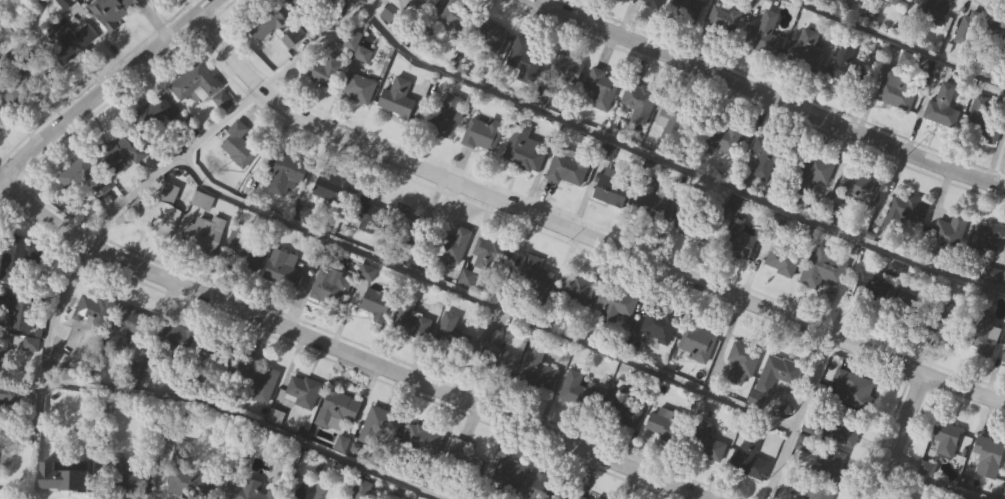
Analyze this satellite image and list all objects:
building: (850, 0)
building: (896, 1)
building: (430, 2)
building: (652, 2)
building: (300, 3)
building: (402, 4)
building: (686, 8)
building: (112, 9)
building: (933, 10)
building: (459, 18)
building: (723, 18)
building: (264, 22)
building: (976, 25)
building: (765, 33)
building: (492, 38)
road: (897, 43)
building: (805, 49)
building: (1003, 53)
building: (523, 59)
road: (156, 63)
building: (325, 68)
building: (565, 71)
building: (200, 85)
building: (859, 86)
building: (358, 87)
building: (600, 88)
road: (98, 89)
building: (897, 89)
road: (771, 97)
building: (397, 98)
building: (637, 100)
building: (943, 105)
road: (751, 106)
building: (153, 113)
building: (2, 116)
building: (449, 116)
building: (677, 118)
building: (985, 118)
building: (482, 133)
building: (726, 137)
building: (236, 144)
building: (521, 145)
building: (114, 150)
building: (766, 156)
building: (569, 166)
road: (674, 166)
building: (286, 168)
building: (809, 172)
building: (83, 178)
road: (149, 180)
building: (860, 186)
building: (610, 188)
building: (329, 189)
building: (202, 199)
building: (650, 202)
building: (367, 205)
building: (163, 210)
building: (902, 216)
building: (692, 223)
building: (404, 227)
building: (949, 231)
road: (581, 233)
building: (203, 234)
building: (986, 235)
building: (737, 241)
building: (454, 245)
building: (242, 252)
building: (491, 253)
building: (15, 259)
building: (780, 259)
building: (823, 267)
building: (282, 269)
building: (534, 277)
building: (331, 288)
building: (575, 288)
building: (873, 290)
road: (479, 302)
building: (615, 304)
building: (374, 305)
building: (93, 311)
building: (909, 312)
building: (19, 313)
building: (413, 323)
building: (658, 323)
building: (947, 323)
building: (132, 325)
building: (455, 329)
building: (980, 335)
building: (182, 341)
building: (697, 341)
building: (495, 348)
road: (349, 351)
building: (214, 352)
building: (6, 356)
building: (1003, 358)
building: (742, 362)
building: (535, 368)
building: (777, 375)
building: (263, 384)
building: (851, 389)
building: (301, 391)
building: (9, 395)
building: (595, 399)
building: (340, 406)
road: (922, 408)
road: (797, 416)
road: (244, 420)
building: (666, 423)
building: (380, 428)
building: (843, 428)
road: (898, 435)
building: (943, 439)
building: (422, 441)
building: (703, 442)
building: (749, 457)
building: (988, 457)
building: (461, 459)
building: (830, 463)
building: (926, 468)
building: (508, 476)
building: (62, 479)
road: (931, 483)
building: (547, 489)
building: (811, 489)
building: (247, 491)
building: (305, 492)
building: (579, 497)

